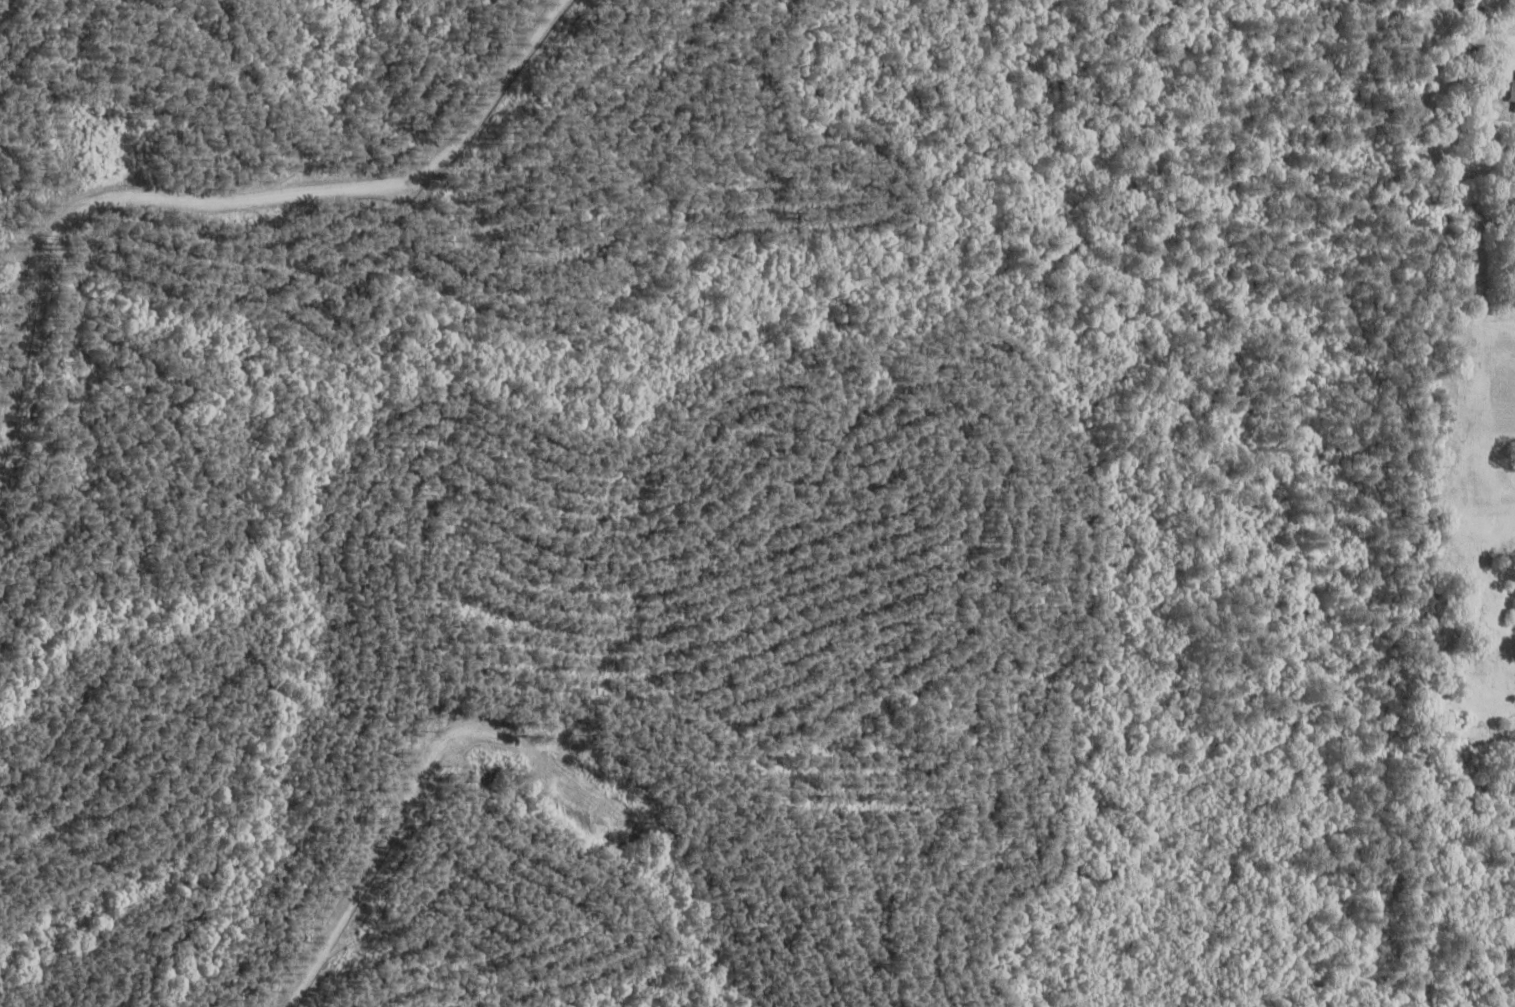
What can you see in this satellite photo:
building: (1509, 91)

